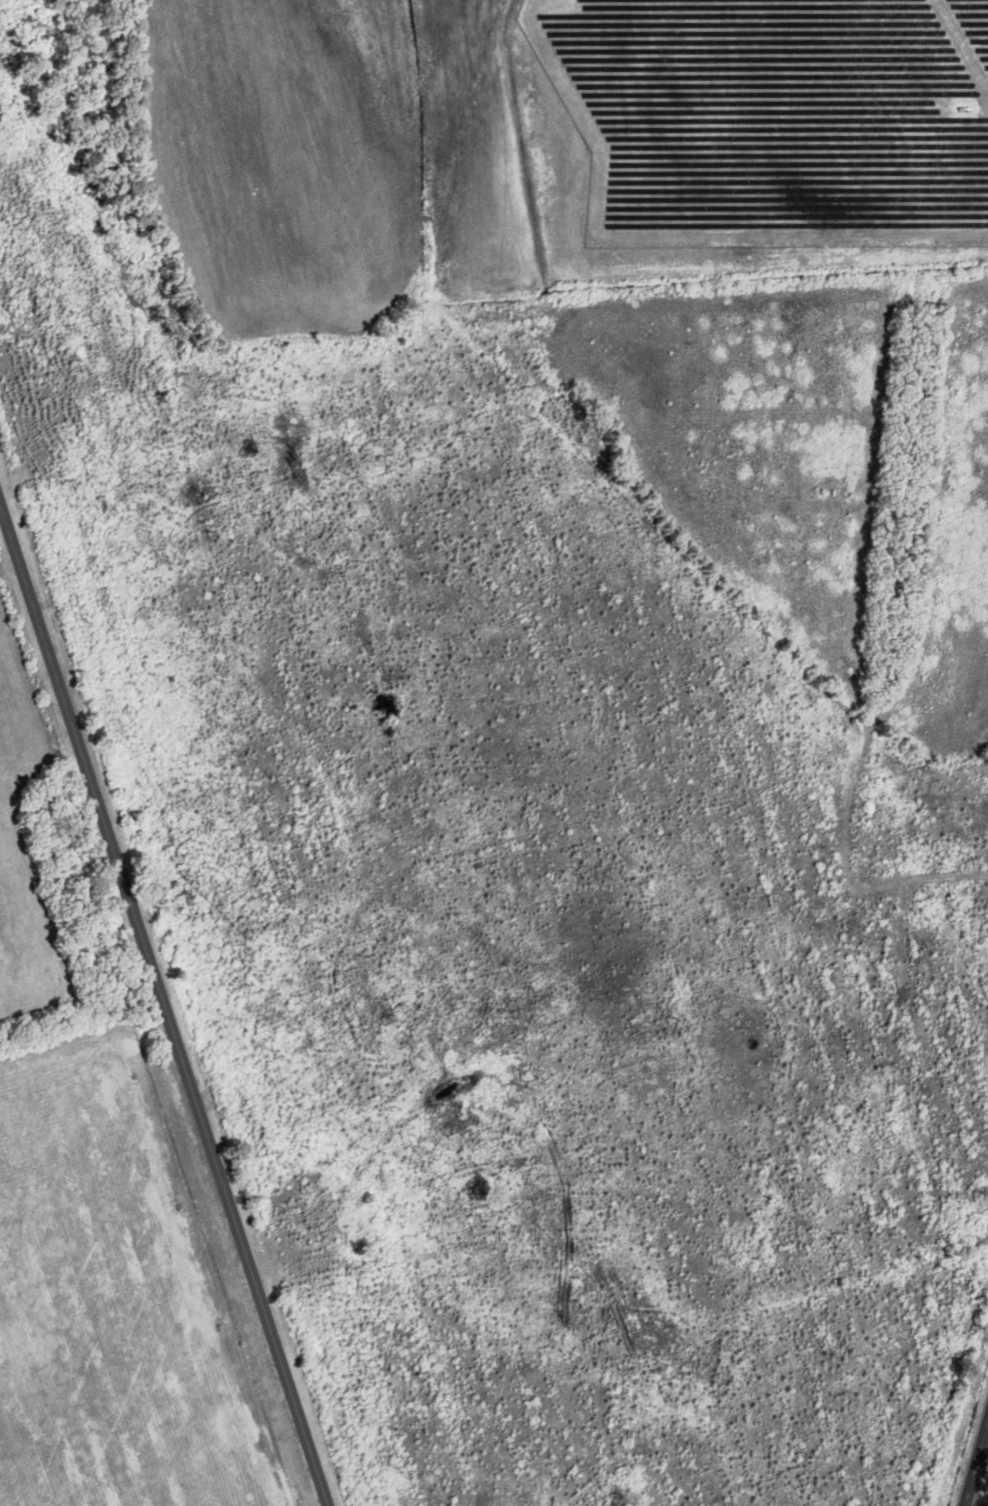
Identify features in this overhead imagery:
solar farm: (775, 117)
road: (164, 1004)
road: (978, 1472)
road: (980, 1499)

